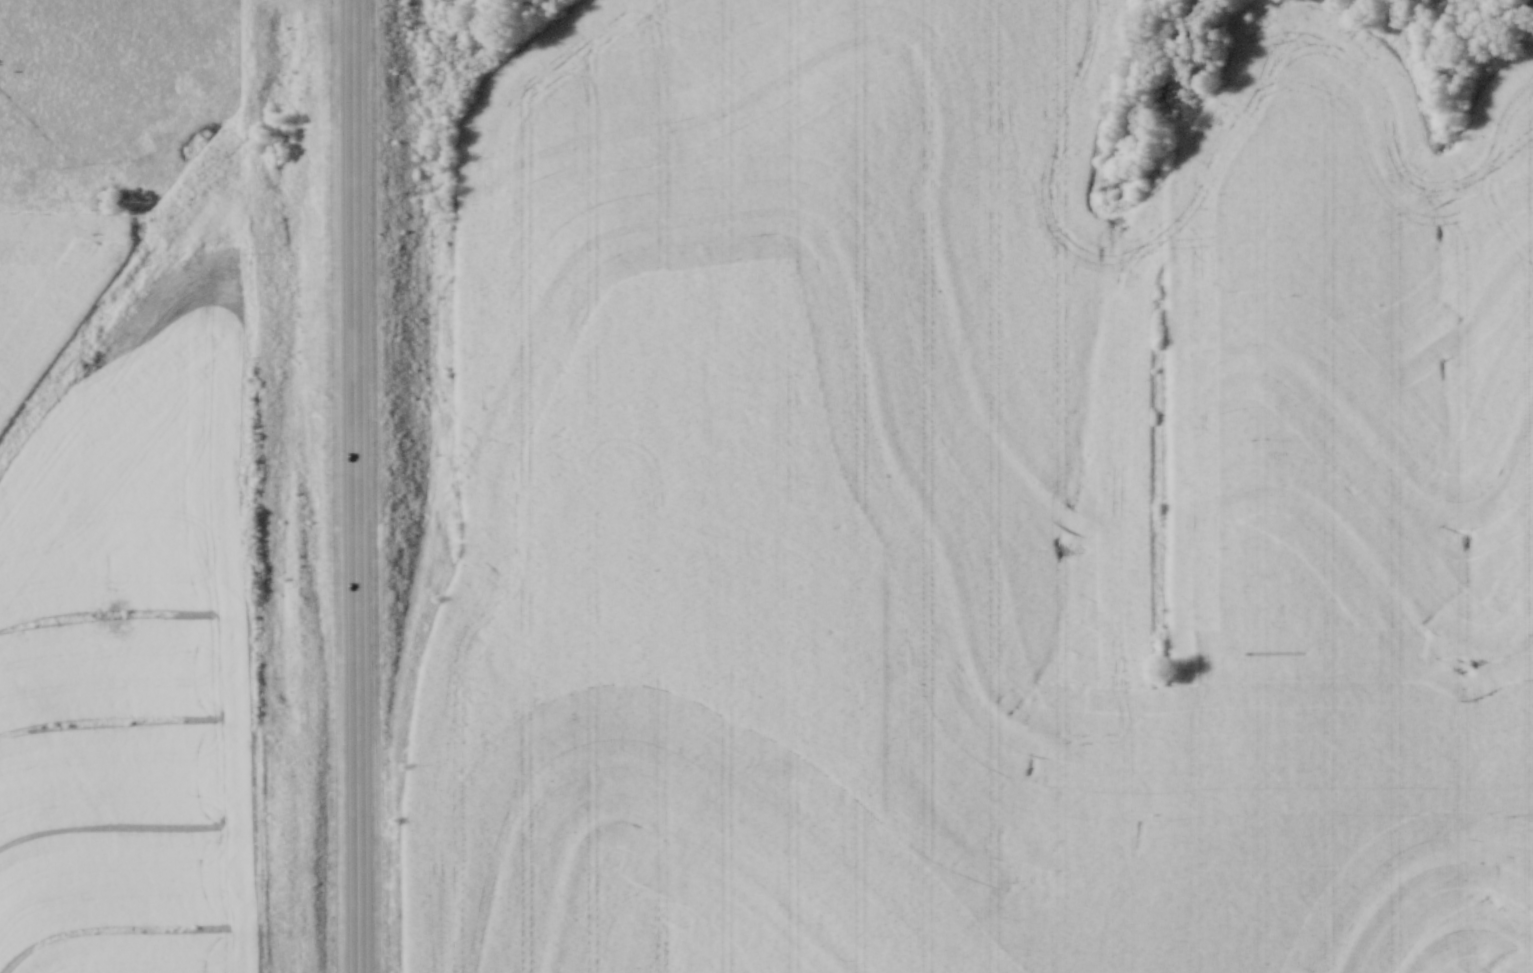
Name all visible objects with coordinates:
road: (357, 486)

